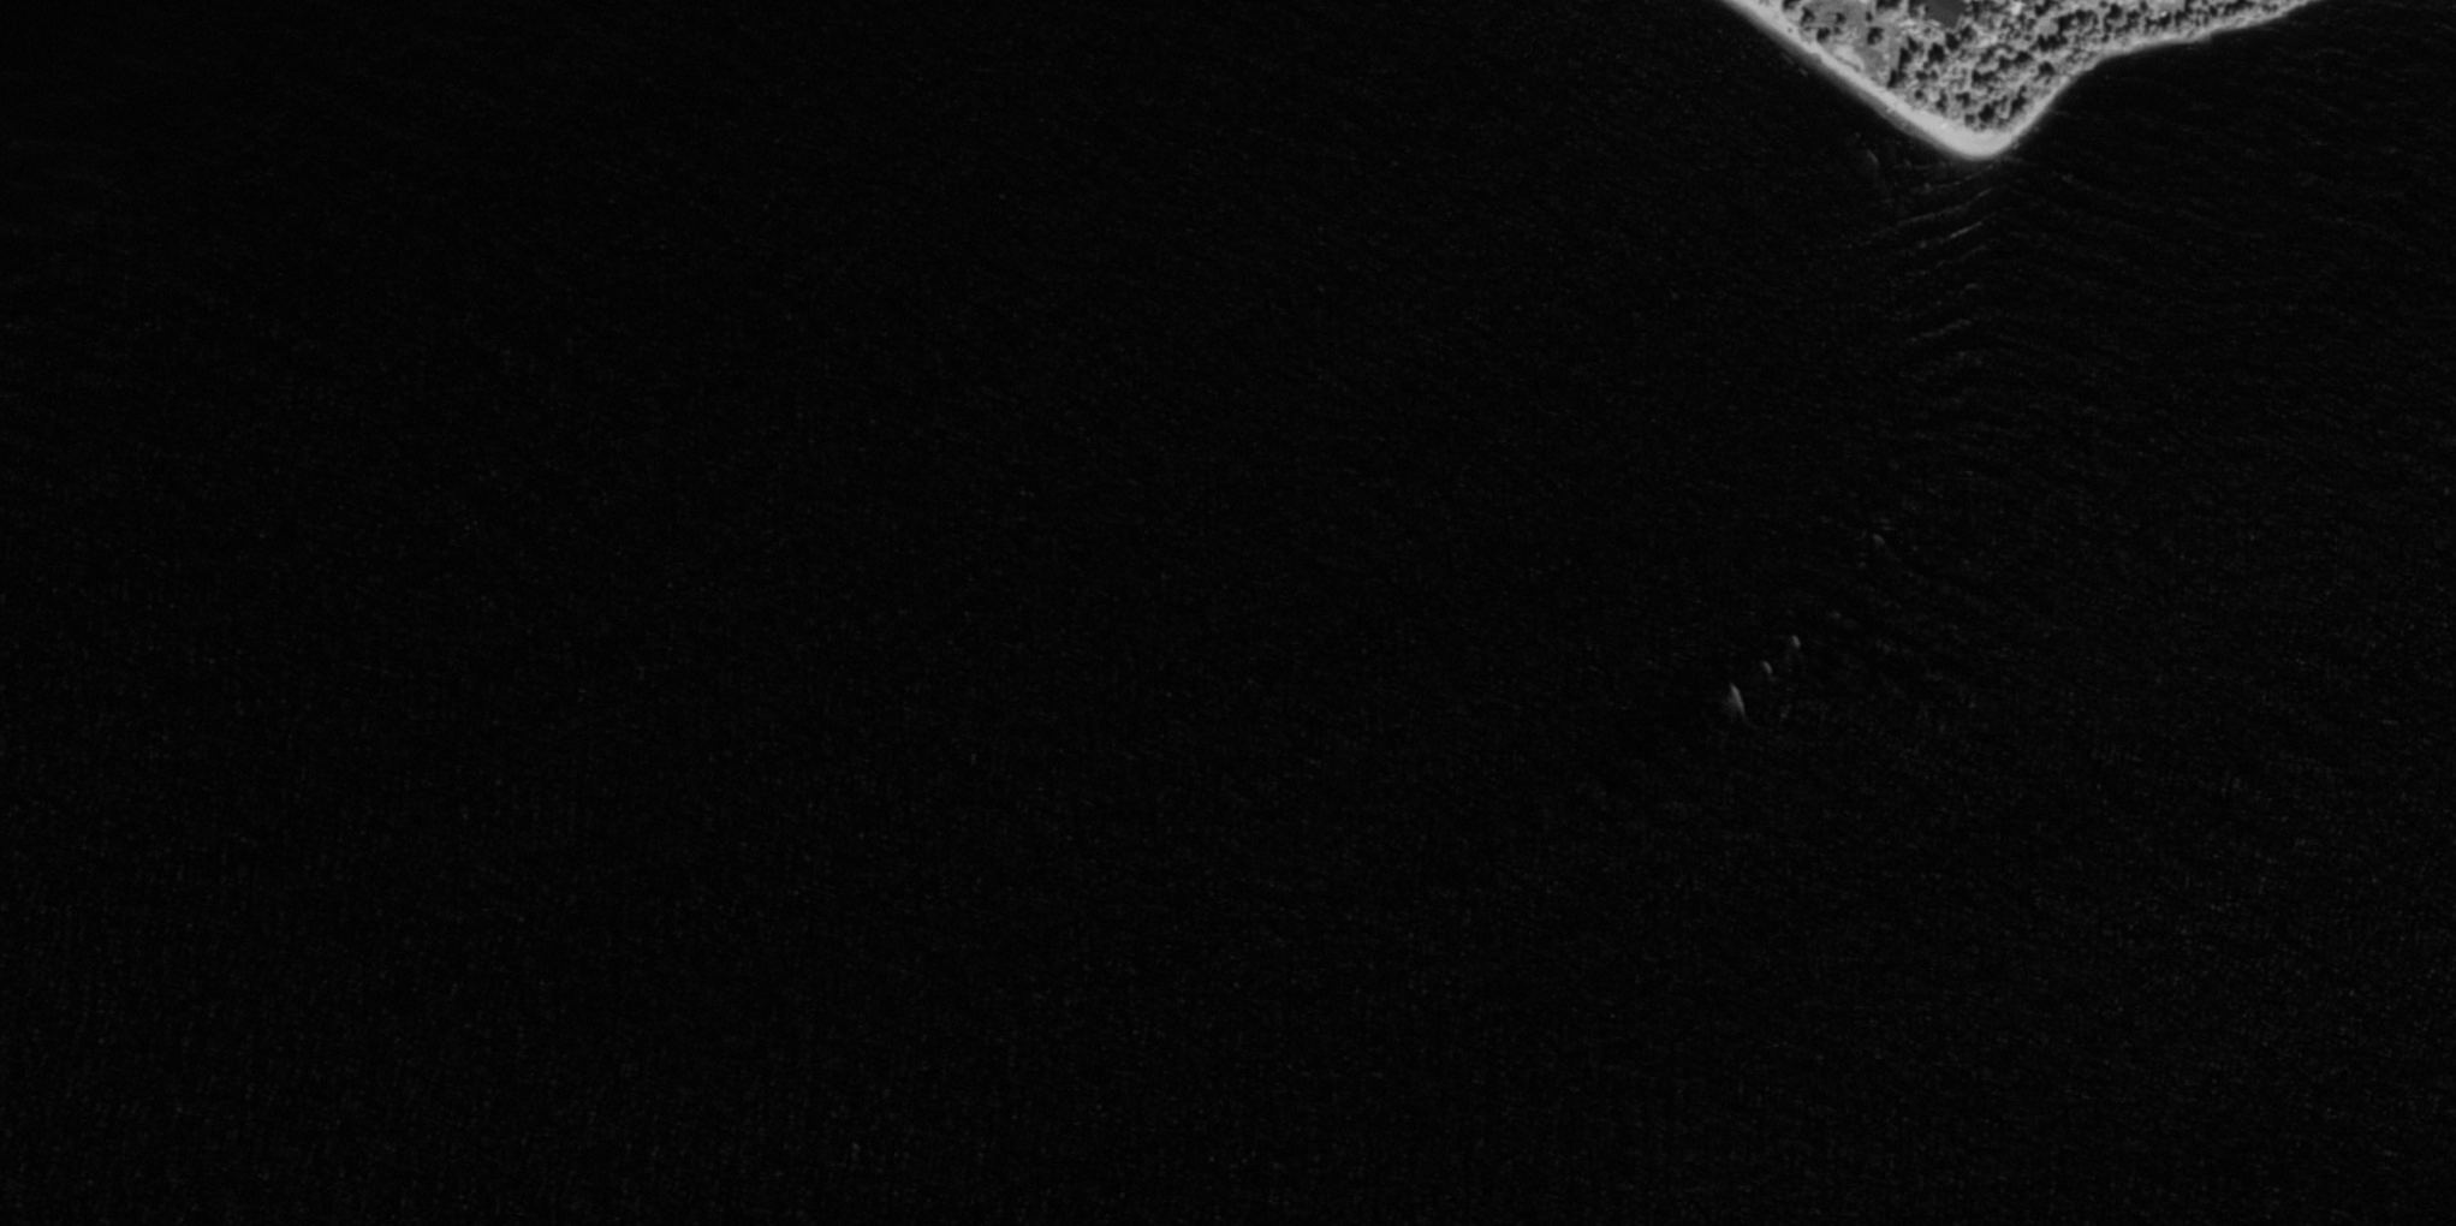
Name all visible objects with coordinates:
building: (1946, 11)

